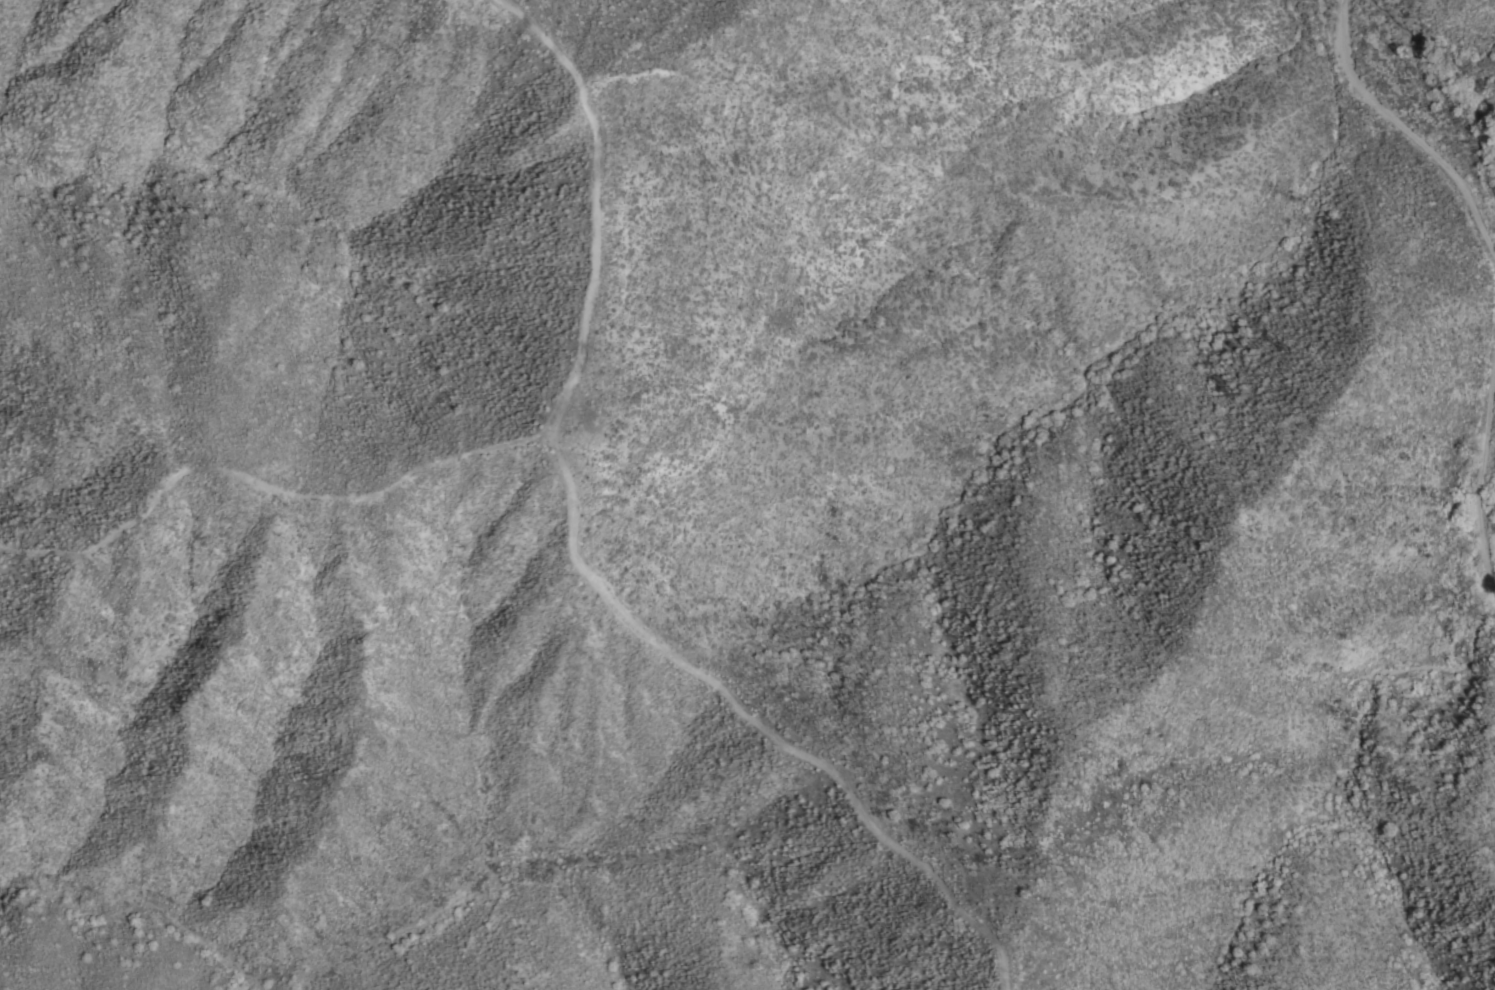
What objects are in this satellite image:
road: (1409, 125)
road: (1489, 497)

